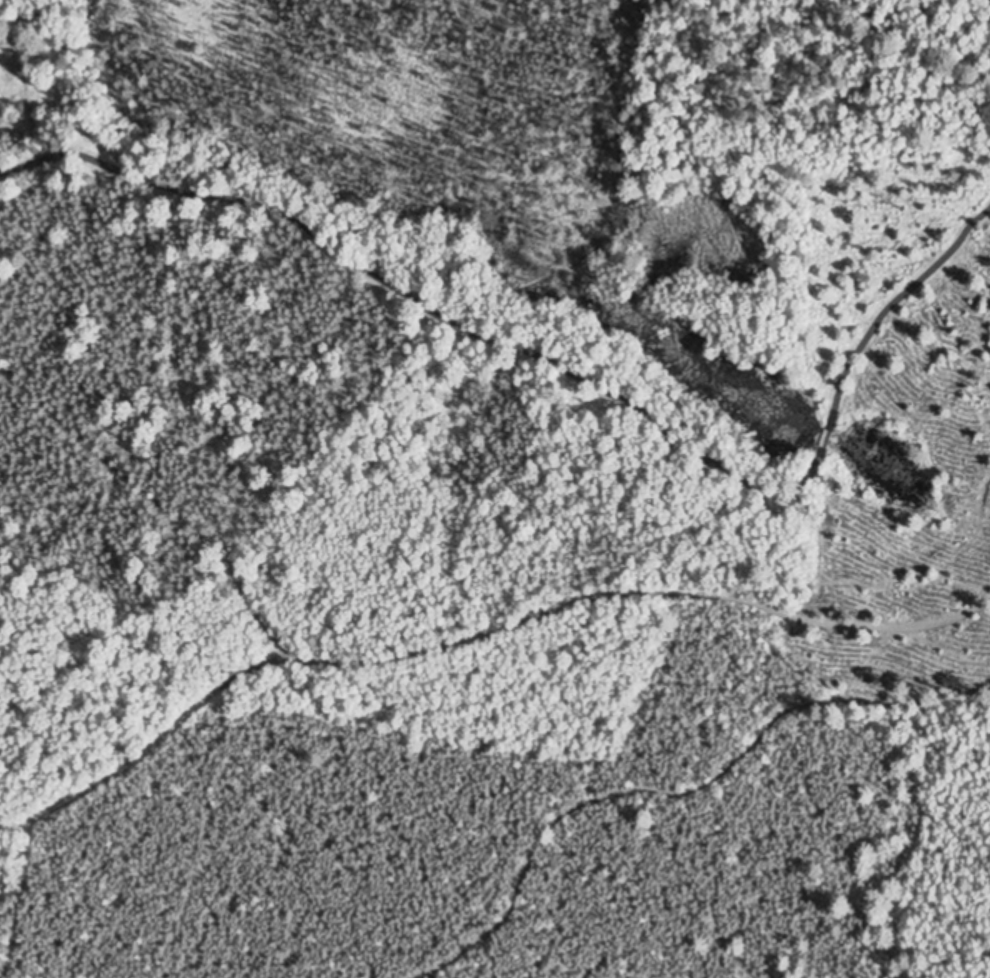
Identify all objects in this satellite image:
road: (865, 333)

